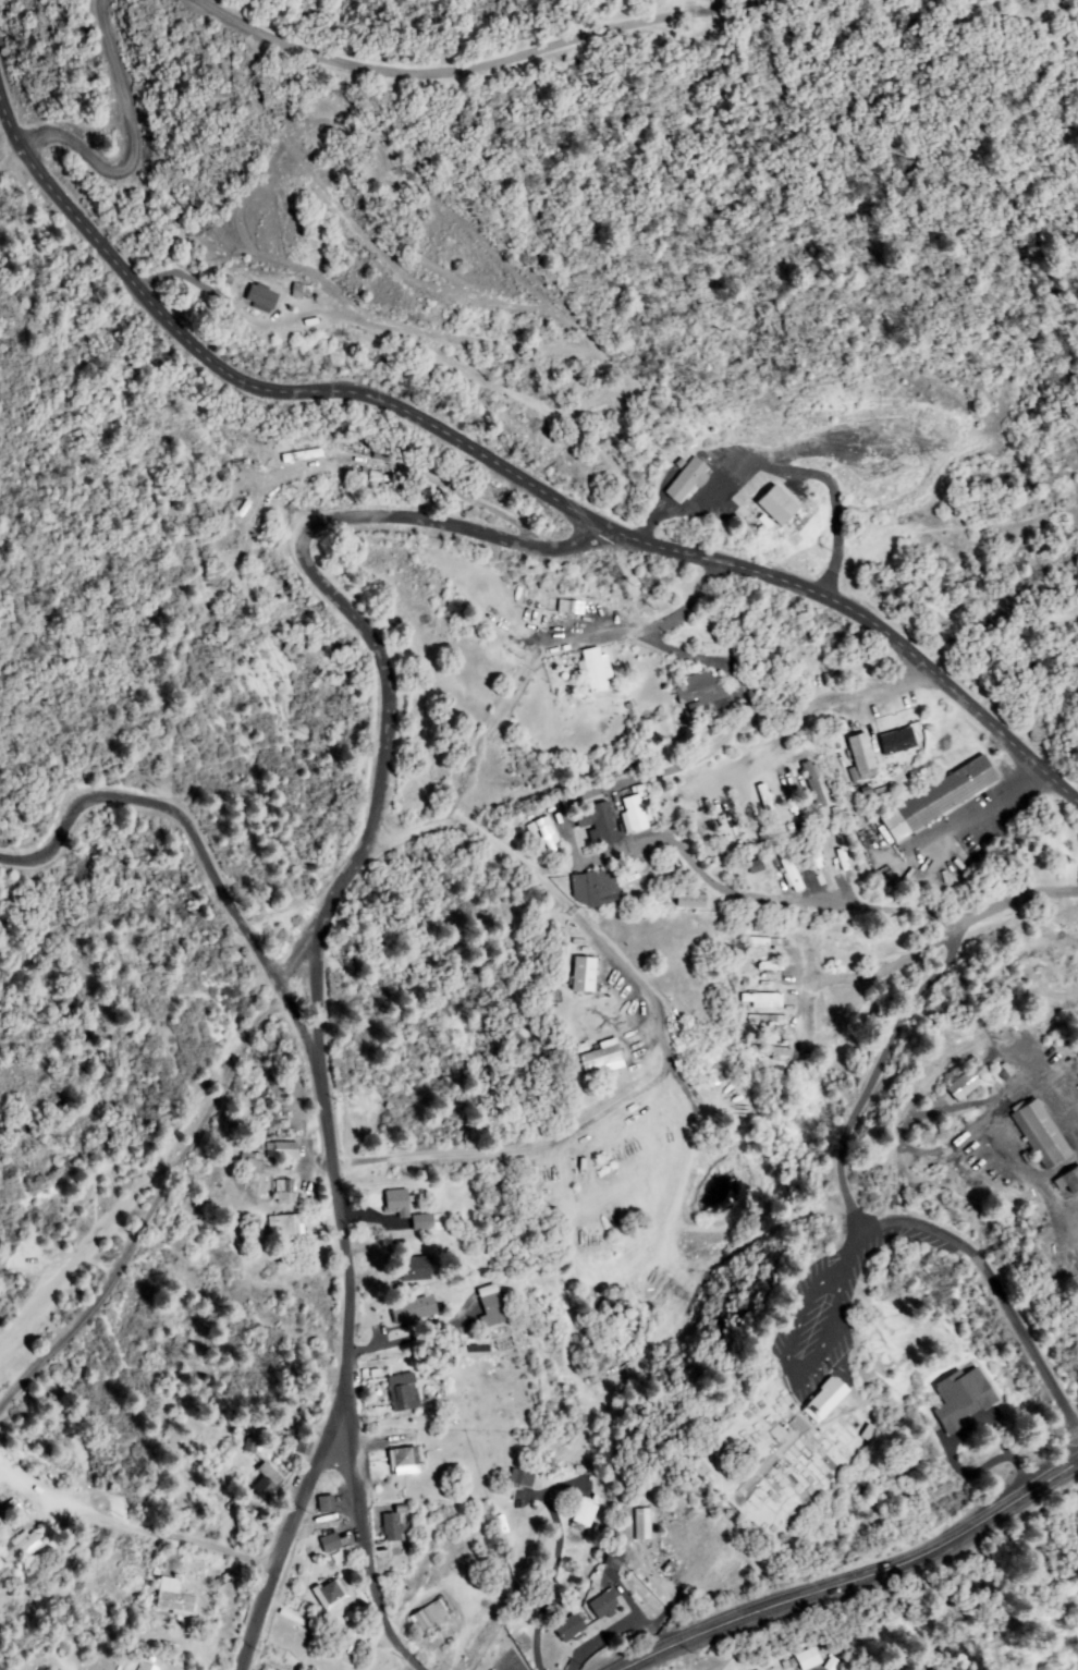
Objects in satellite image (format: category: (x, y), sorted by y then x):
road: (474, 71)
road: (138, 119)
building: (262, 298)
road: (270, 386)
building: (688, 482)
building: (776, 507)
road: (307, 545)
building: (551, 605)
building: (572, 607)
road: (1005, 642)
building: (596, 669)
building: (702, 688)
building: (627, 708)
road: (652, 748)
building: (883, 751)
building: (854, 756)
building: (808, 784)
building: (784, 795)
building: (934, 799)
building: (759, 801)
building: (637, 815)
building: (719, 820)
building: (598, 821)
building: (697, 827)
road: (201, 836)
building: (549, 837)
building: (1040, 848)
building: (838, 864)
building: (756, 866)
building: (785, 873)
building: (811, 873)
building: (599, 891)
building: (690, 900)
building: (767, 941)
building: (842, 948)
building: (762, 971)
building: (585, 975)
building: (762, 1000)
building: (762, 1019)
road: (254, 1032)
building: (765, 1050)
road: (932, 1055)
building: (603, 1060)
building: (963, 1086)
building: (1041, 1134)
building: (283, 1151)
road: (836, 1155)
building: (253, 1161)
building: (1069, 1181)
building: (285, 1193)
building: (397, 1204)
building: (422, 1223)
building: (286, 1228)
road: (132, 1261)
building: (413, 1270)
road: (834, 1275)
building: (492, 1306)
building: (414, 1309)
building: (504, 1341)
building: (404, 1392)
building: (963, 1399)
building: (811, 1401)
building: (825, 1401)
building: (304, 1446)
building: (252, 1447)
park: (803, 1449)
building: (405, 1461)
building: (522, 1478)
building: (268, 1482)
building: (326, 1504)
building: (11, 1510)
building: (585, 1513)
road: (299, 1524)
building: (644, 1525)
building: (392, 1528)
road: (364, 1533)
building: (331, 1544)
building: (21, 1547)
building: (576, 1553)
building: (614, 1561)
road: (857, 1571)
road: (621, 1572)
building: (332, 1595)
building: (175, 1597)
building: (605, 1605)
building: (430, 1618)
building: (571, 1629)
building: (807, 1658)
building: (833, 1665)
building: (146, 1668)

